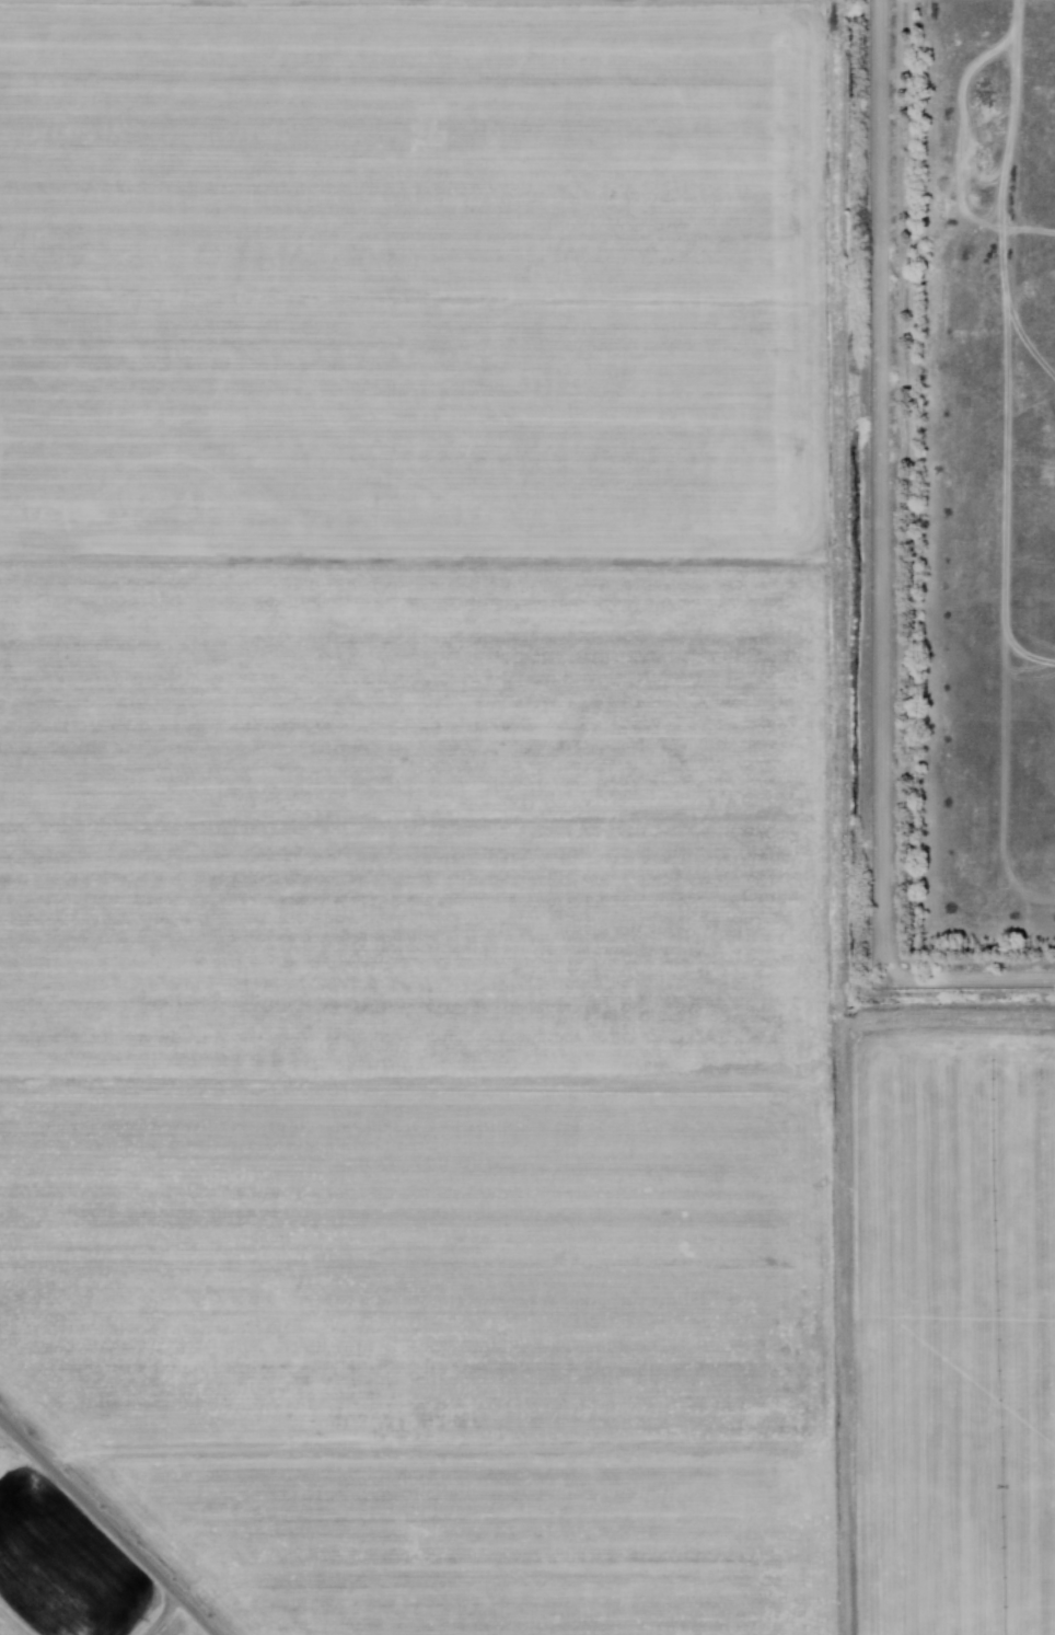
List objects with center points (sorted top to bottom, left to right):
road: (416, 2)

